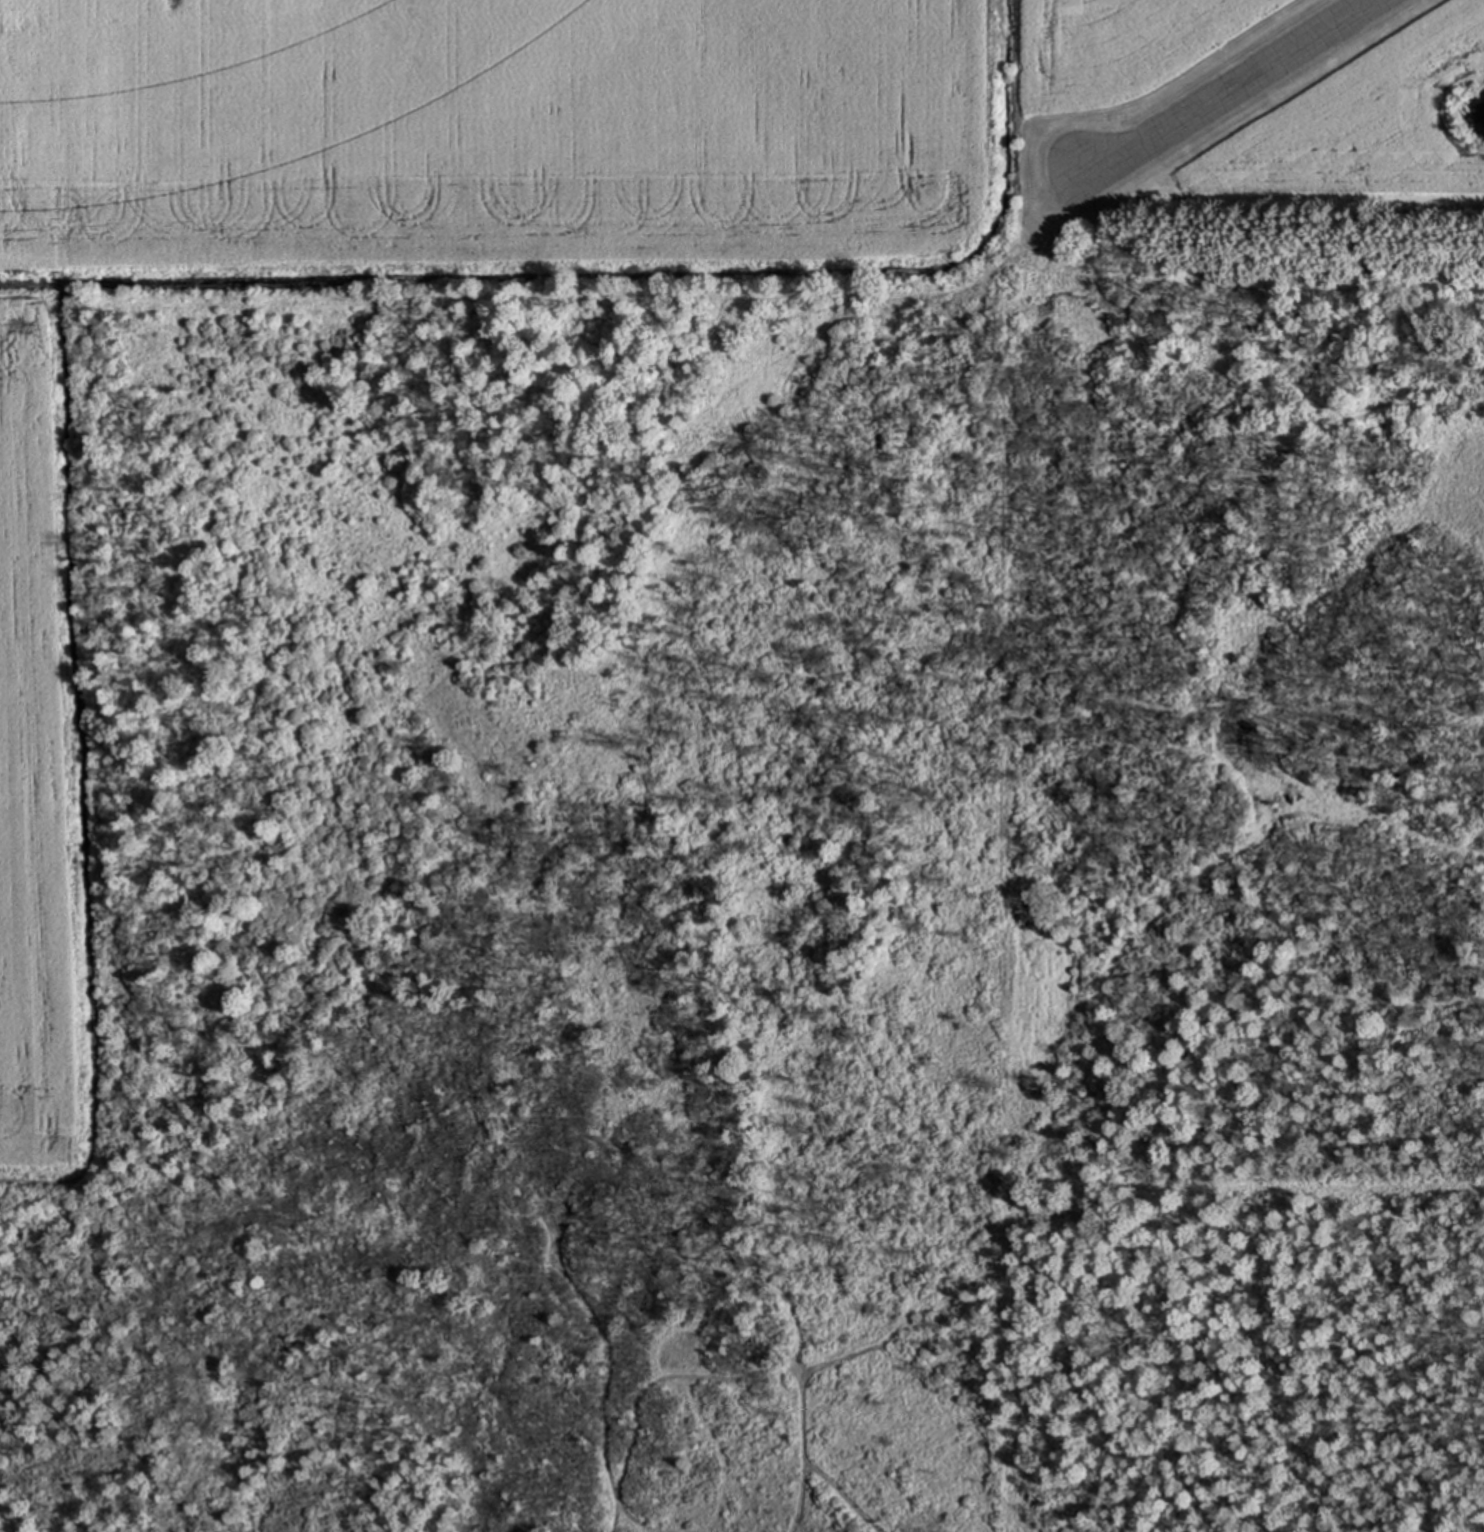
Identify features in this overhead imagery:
airport runway: (1210, 97)
airport: (1177, 107)
airport taxiway: (1080, 165)
road: (1242, 1137)

